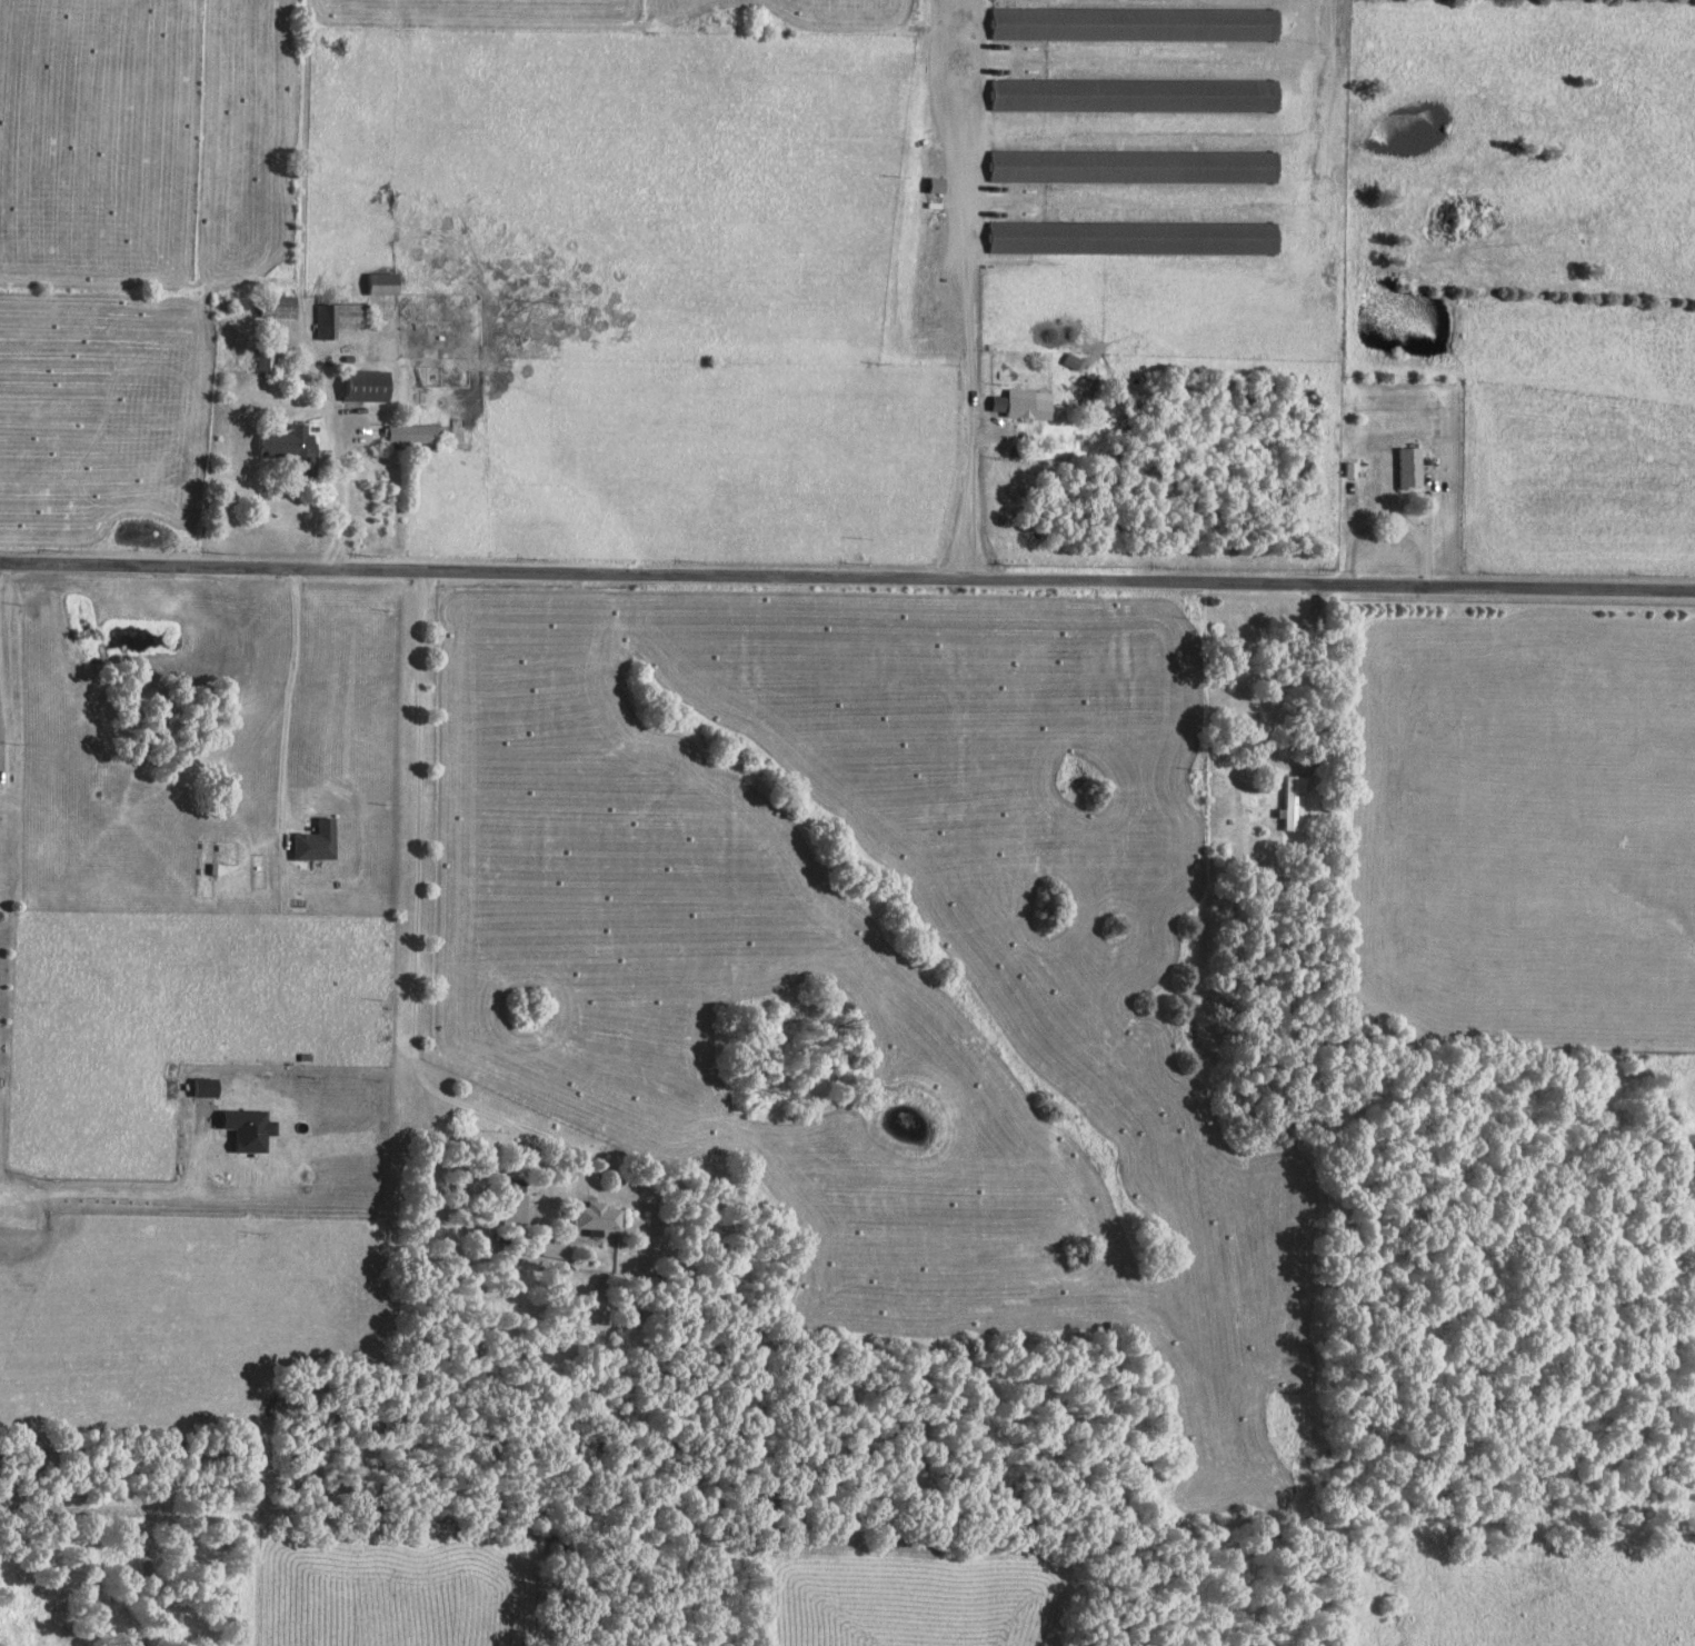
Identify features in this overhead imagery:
building: (1138, 23)
building: (1137, 94)
building: (1137, 166)
building: (1137, 237)
building: (385, 283)
road: (973, 290)
building: (278, 307)
building: (339, 318)
building: (265, 359)
building: (369, 386)
building: (1027, 405)
building: (412, 433)
building: (292, 449)
building: (1412, 467)
building: (1352, 469)
road: (339, 488)
road: (1383, 525)
road: (847, 579)
road: (1292, 678)
road: (289, 698)
building: (1294, 800)
building: (317, 841)
road: (417, 929)
road: (1, 1213)
building: (599, 1217)
building: (556, 1248)

